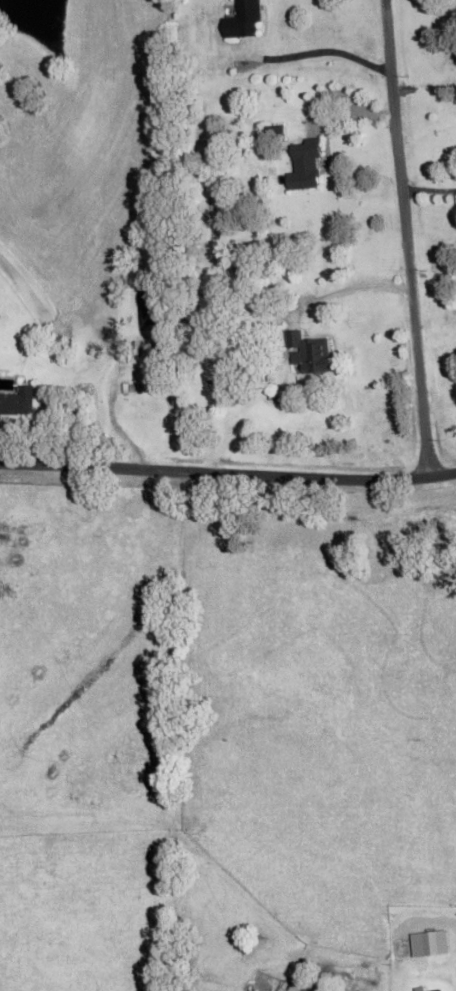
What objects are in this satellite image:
building: (243, 20)
building: (273, 134)
building: (304, 166)
road: (405, 239)
building: (308, 353)
building: (17, 402)
road: (113, 409)
building: (138, 412)
road: (228, 471)

